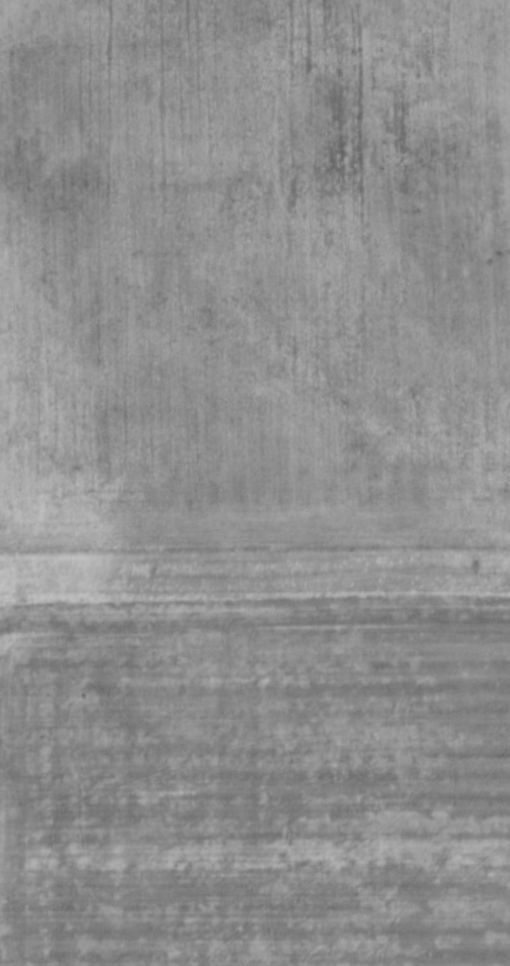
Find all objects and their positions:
road: (255, 577)

